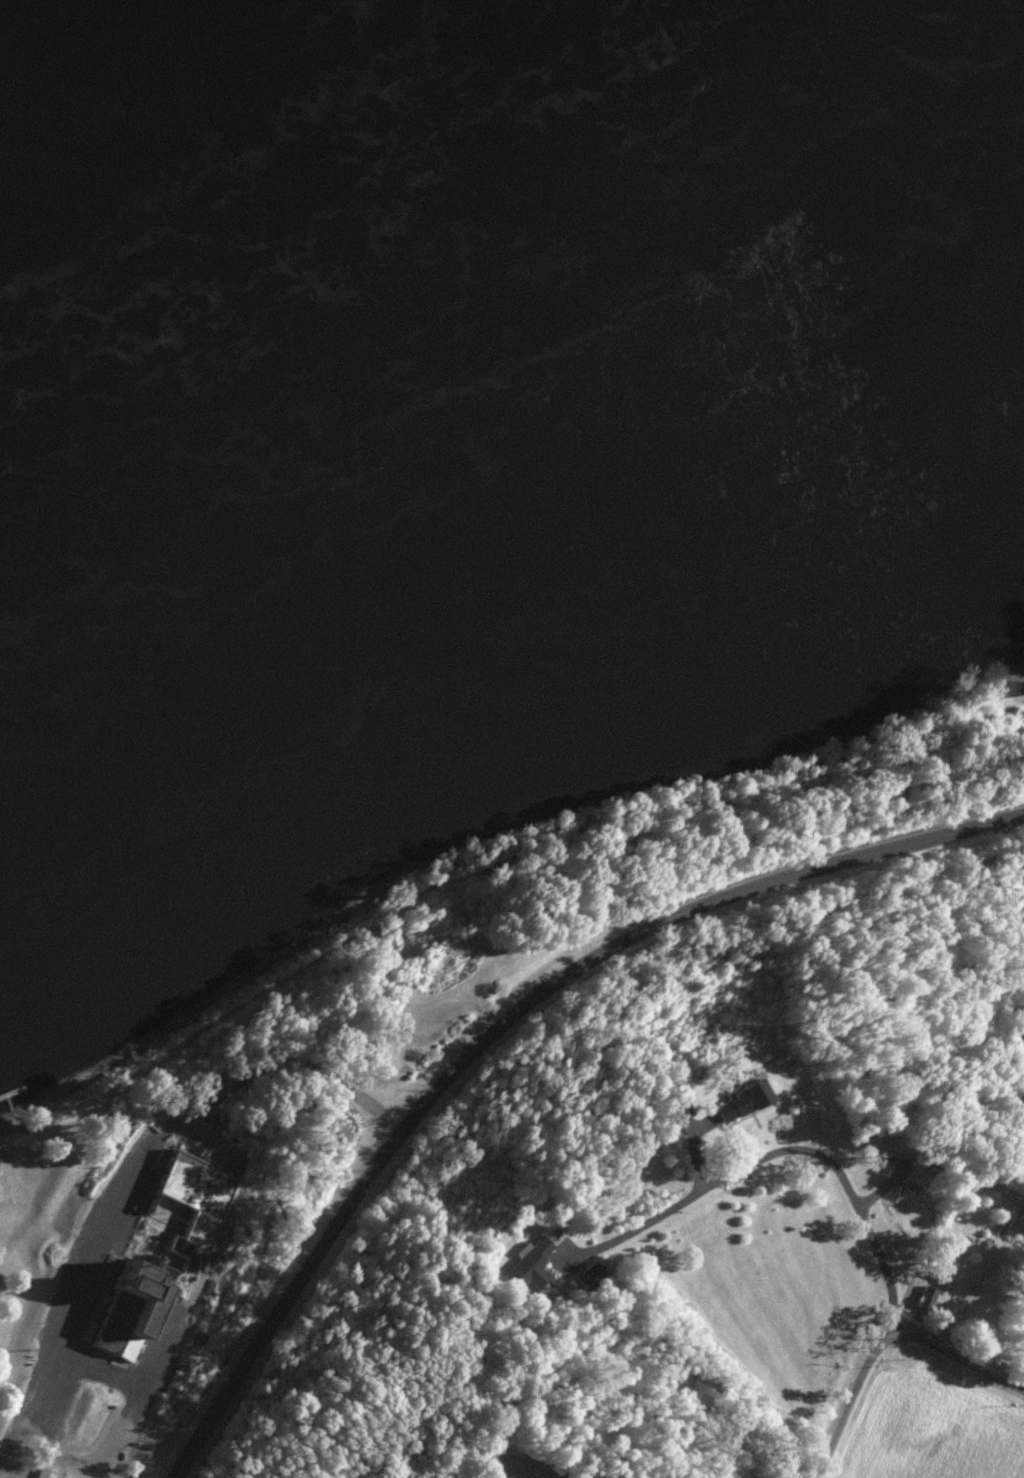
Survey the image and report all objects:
river: (326, 222)
building: (1023, 685)
road: (689, 911)
building: (744, 1100)
road: (843, 1170)
road: (174, 1191)
building: (167, 1244)
building: (534, 1263)
road: (287, 1294)
building: (929, 1296)
road: (954, 1361)
road: (13, 1372)
road: (848, 1401)
building: (102, 1410)
building: (44, 1472)

